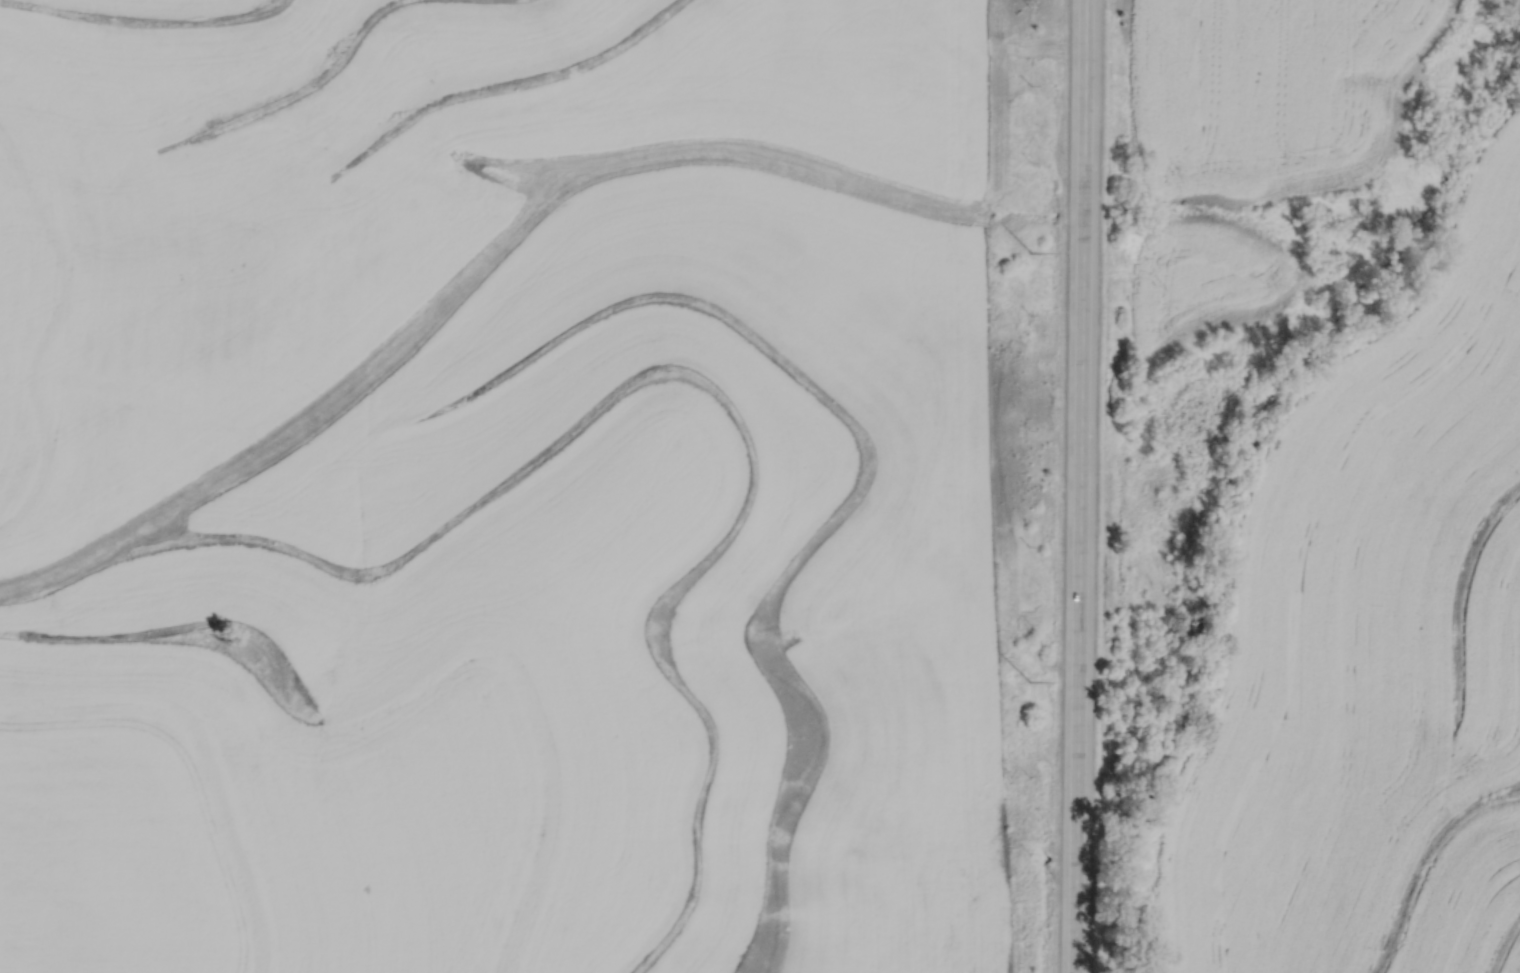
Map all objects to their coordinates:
power tower: (1029, 254)
road: (1078, 486)
power tower: (1027, 683)

